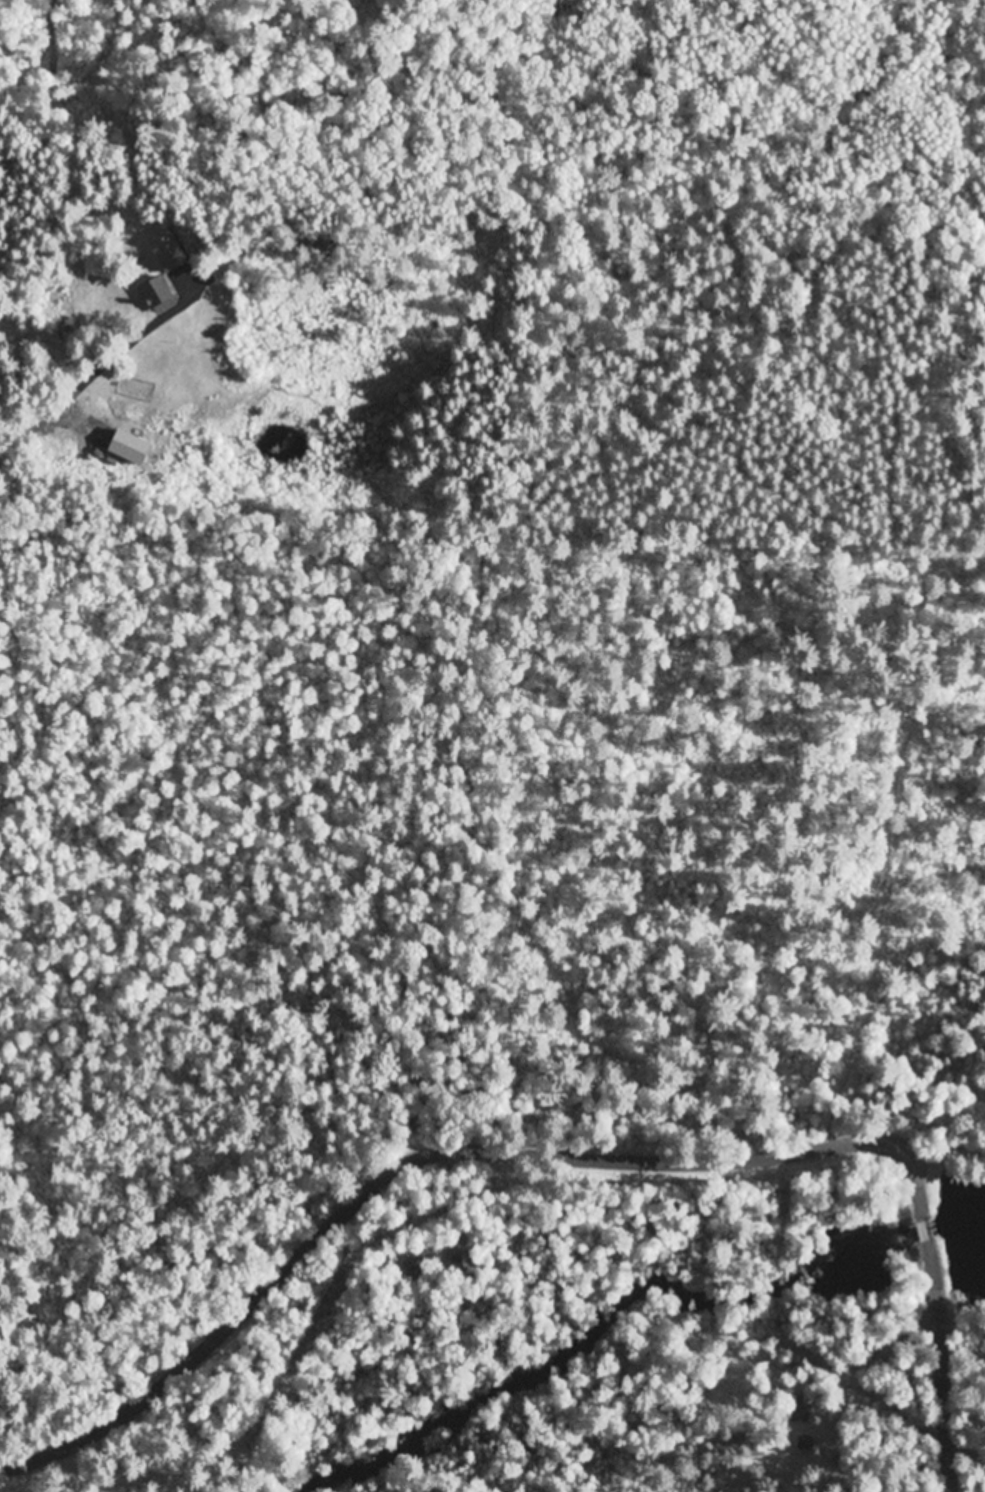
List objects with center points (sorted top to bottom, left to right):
building: (161, 294)
road: (443, 1150)
dam: (929, 1228)
road: (929, 1228)
building: (461, 1264)
building: (421, 1270)
road: (946, 1361)
building: (801, 1409)
building: (732, 1442)
building: (806, 1443)
building: (758, 1451)

